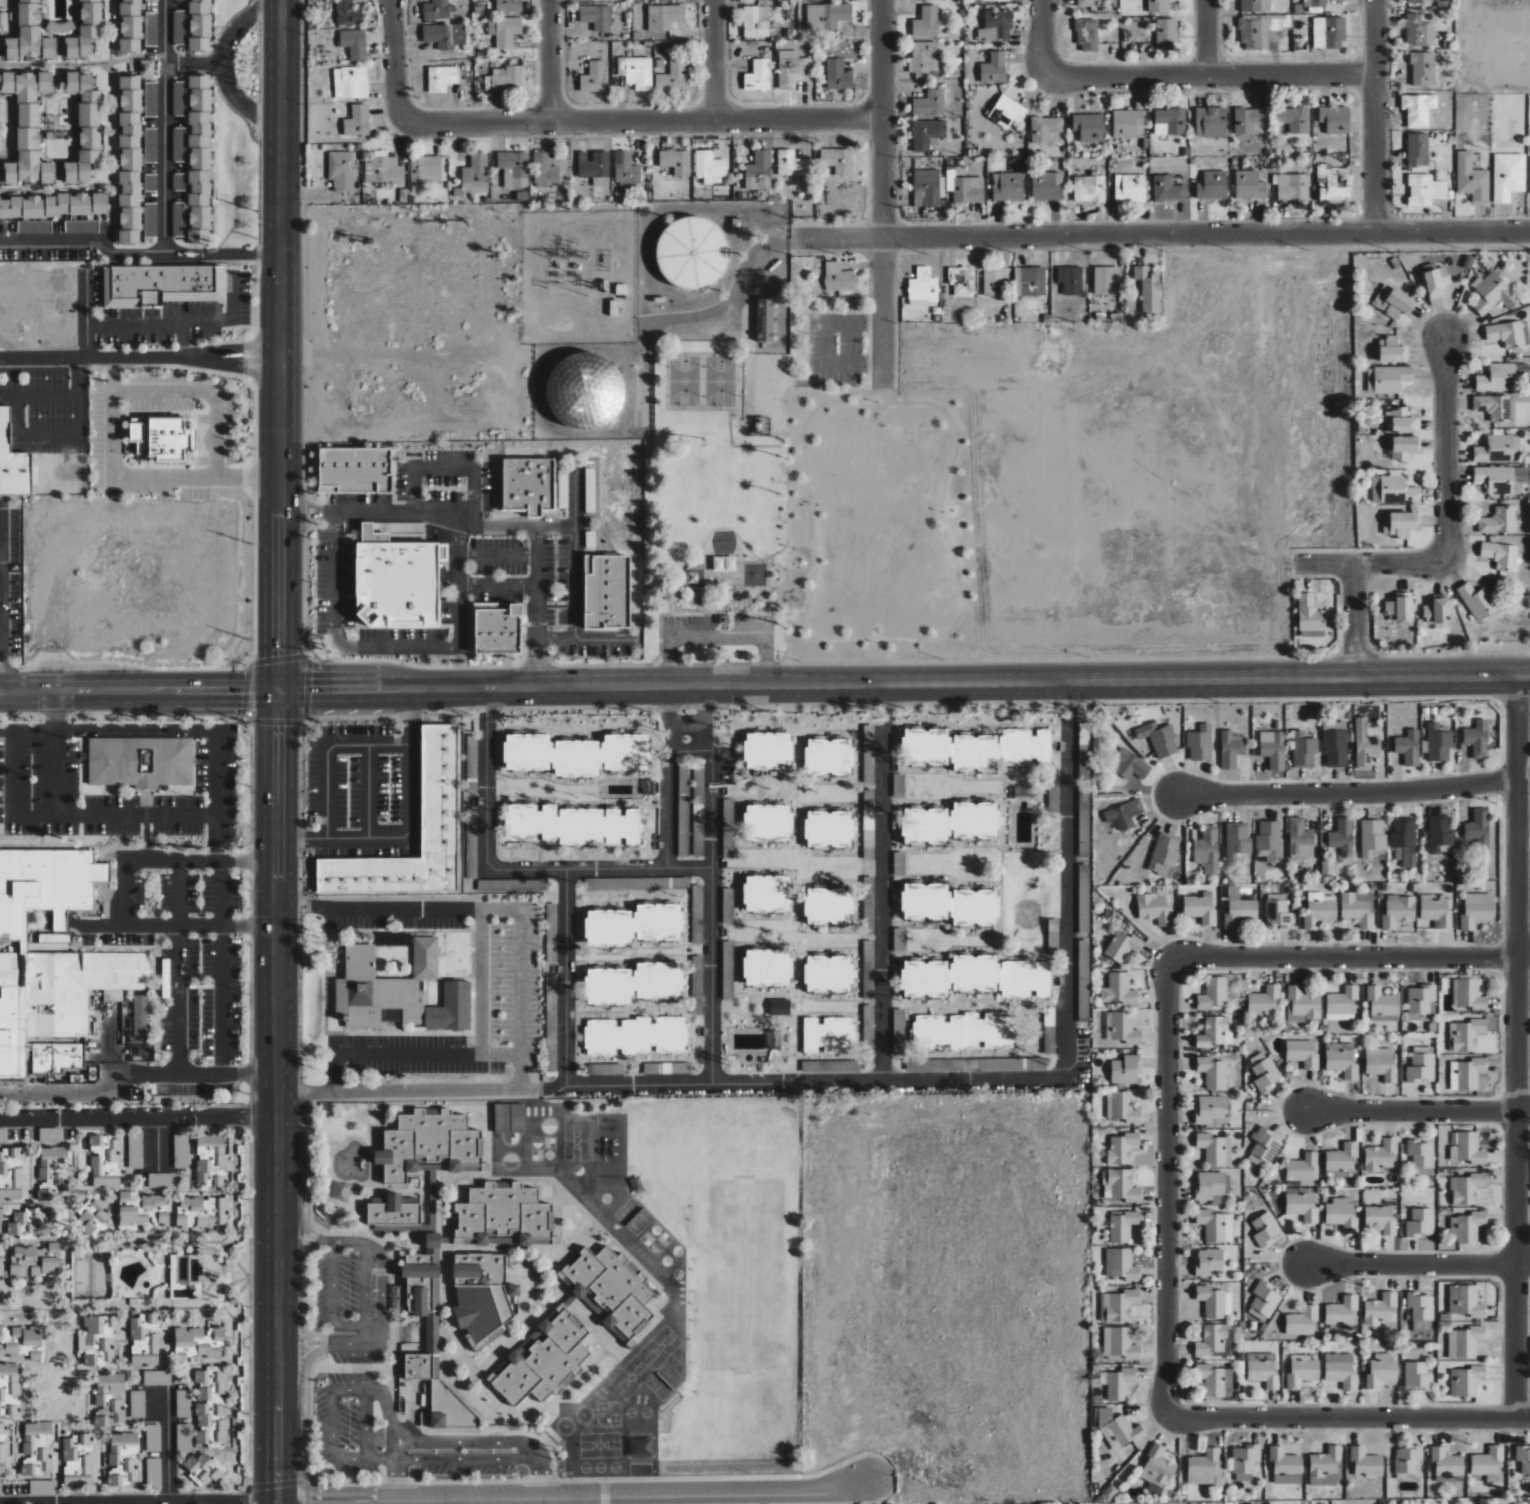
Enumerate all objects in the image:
building: (994, 0)
building: (1421, 1)
building: (1084, 3)
building: (1314, 3)
building: (508, 5)
building: (1158, 6)
building: (1255, 6)
building: (435, 10)
building: (347, 13)
building: (827, 15)
building: (596, 16)
building: (666, 16)
building: (756, 21)
building: (926, 22)
building: (198, 25)
building: (129, 26)
building: (996, 26)
building: (179, 27)
building: (84, 30)
building: (504, 30)
building: (1419, 31)
road: (1042, 32)
building: (1329, 32)
building: (1166, 34)
building: (29, 35)
building: (444, 35)
building: (1087, 35)
road: (1205, 38)
road: (165, 42)
building: (353, 43)
road: (392, 53)
building: (924, 57)
road: (219, 60)
road: (713, 60)
road: (550, 61)
road: (204, 62)
building: (146, 68)
building: (993, 68)
building: (1422, 68)
building: (792, 69)
building: (637, 73)
building: (838, 75)
road: (1206, 75)
building: (758, 76)
building: (594, 77)
building: (673, 77)
building: (442, 78)
building: (504, 79)
building: (350, 82)
building: (178, 98)
building: (151, 99)
building: (930, 103)
building: (1007, 111)
building: (2, 113)
road: (1375, 116)
building: (1294, 119)
building: (1335, 119)
building: (357, 121)
road: (634, 121)
building: (1170, 121)
building: (1250, 121)
building: (1210, 122)
building: (1128, 123)
building: (26, 127)
building: (84, 127)
building: (1089, 127)
building: (1045, 128)
building: (925, 134)
building: (179, 144)
building: (1418, 149)
road: (165, 158)
building: (198, 159)
building: (837, 159)
building: (129, 160)
building: (676, 161)
building: (760, 164)
building: (791, 164)
building: (595, 167)
building: (709, 167)
building: (514, 168)
building: (626, 168)
building: (384, 169)
building: (426, 169)
building: (341, 170)
building: (544, 170)
building: (1509, 175)
building: (1472, 179)
building: (151, 182)
building: (179, 182)
building: (1333, 184)
building: (1212, 185)
building: (1249, 185)
building: (1007, 186)
building: (1047, 186)
building: (1293, 186)
building: (926, 188)
building: (965, 188)
building: (1089, 188)
building: (1131, 189)
building: (1167, 189)
building: (1425, 190)
road: (881, 193)
building: (53, 206)
building: (178, 219)
building: (151, 220)
building: (81, 226)
road: (1068, 236)
road: (102, 246)
building: (690, 253)
road: (241, 254)
building: (838, 277)
building: (1105, 279)
building: (961, 280)
building: (1070, 280)
building: (995, 281)
building: (1029, 281)
building: (1436, 281)
building: (160, 285)
building: (923, 286)
building: (1148, 288)
building: (1492, 293)
building: (1393, 302)
building: (764, 319)
road: (137, 321)
building: (1506, 334)
road: (277, 345)
building: (1391, 350)
road: (138, 359)
building: (1501, 377)
building: (1391, 378)
park: (683, 380)
park: (719, 381)
building: (583, 391)
building: (1496, 407)
building: (1404, 421)
building: (160, 438)
building: (1404, 448)
building: (1499, 449)
road: (1446, 451)
building: (12, 462)
building: (353, 470)
building: (1501, 478)
park: (716, 481)
road: (787, 482)
building: (526, 484)
building: (1394, 490)
building: (1499, 521)
building: (1399, 524)
road: (484, 525)
building: (1500, 555)
road: (1364, 561)
building: (723, 564)
parking lot: (512, 566)
building: (394, 580)
building: (605, 592)
building: (1477, 601)
building: (1399, 608)
building: (1436, 610)
building: (1310, 614)
road: (1353, 620)
building: (495, 628)
parking lot: (718, 629)
road: (715, 638)
road: (902, 683)
road: (138, 694)
road: (54, 712)
road: (172, 730)
building: (1159, 739)
building: (1477, 739)
building: (1200, 743)
building: (1437, 743)
building: (1335, 744)
building: (1365, 745)
building: (1026, 747)
building: (1409, 747)
road: (325, 748)
building: (1231, 749)
building: (1273, 749)
building: (1304, 749)
building: (950, 750)
building: (767, 751)
building: (868, 754)
building: (576, 755)
building: (471, 756)
building: (828, 757)
building: (139, 762)
building: (1128, 764)
road: (54, 773)
road: (669, 778)
road: (1523, 780)
building: (898, 785)
building: (1084, 790)
road: (367, 791)
building: (437, 791)
road: (1347, 791)
building: (1053, 795)
building: (698, 809)
building: (683, 811)
building: (1124, 815)
road: (69, 816)
building: (767, 823)
building: (868, 824)
building: (949, 824)
building: (572, 825)
building: (728, 828)
building: (1479, 828)
building: (828, 829)
road: (409, 831)
building: (1343, 835)
building: (1441, 835)
building: (1372, 837)
building: (1300, 839)
building: (1237, 840)
building: (1269, 841)
building: (1405, 841)
building: (471, 844)
building: (1207, 850)
building: (1165, 855)
road: (168, 861)
building: (898, 864)
road: (511, 870)
road: (271, 882)
building: (637, 883)
road: (883, 883)
building: (495, 885)
building: (766, 894)
road: (712, 897)
building: (1084, 899)
building: (696, 905)
building: (949, 905)
building: (727, 906)
building: (828, 906)
building: (868, 906)
building: (1200, 908)
building: (1358, 908)
road: (482, 909)
building: (1154, 909)
building: (1239, 909)
building: (1436, 910)
building: (1477, 910)
building: (1399, 911)
building: (1319, 912)
building: (1278, 914)
building: (633, 925)
road: (180, 926)
building: (551, 932)
building: (1053, 935)
building: (898, 940)
building: (1123, 946)
road: (1348, 955)
building: (52, 956)
road: (177, 967)
road: (220, 967)
building: (727, 967)
building: (766, 968)
building: (696, 969)
building: (868, 969)
building: (827, 973)
building: (975, 977)
road: (565, 978)
road: (482, 981)
parking lot: (506, 981)
building: (1084, 981)
building: (633, 983)
building: (382, 986)
building: (1119, 990)
building: (1213, 994)
building: (1467, 994)
building: (1264, 1000)
building: (1422, 1000)
building: (1382, 1002)
building: (1304, 1003)
building: (1342, 1004)
building: (779, 1007)
building: (451, 1009)
building: (390, 1016)
building: (141, 1019)
building: (551, 1023)
building: (868, 1024)
building: (1124, 1029)
building: (963, 1031)
building: (1216, 1033)
building: (828, 1035)
building: (1467, 1035)
building: (635, 1036)
building: (899, 1039)
building: (1049, 1039)
road: (1515, 1046)
road: (408, 1053)
building: (1303, 1053)
building: (1342, 1060)
building: (1004, 1063)
building: (941, 1064)
building: (1381, 1064)
building: (821, 1066)
building: (666, 1068)
building: (1421, 1068)
building: (605, 1069)
building: (1125, 1070)
building: (1212, 1073)
building: (1467, 1074)
road: (132, 1075)
building: (1266, 1075)
road: (864, 1084)
road: (1522, 1106)
building: (1122, 1107)
building: (1209, 1109)
road: (1410, 1109)
building: (509, 1117)
road: (135, 1118)
road: (156, 1142)
building: (428, 1144)
building: (1264, 1147)
building: (1122, 1148)
building: (1468, 1148)
building: (1215, 1149)
building: (181, 1151)
building: (1421, 1153)
building: (1381, 1155)
building: (50, 1159)
building: (210, 1159)
building: (1342, 1160)
building: (104, 1161)
building: (3, 1166)
building: (1303, 1167)
building: (161, 1180)
building: (61, 1182)
building: (1209, 1184)
building: (14, 1185)
road: (1164, 1186)
building: (1466, 1188)
building: (340, 1190)
building: (44, 1193)
building: (125, 1196)
building: (152, 1201)
building: (1302, 1206)
building: (202, 1211)
building: (393, 1211)
building: (503, 1214)
building: (1342, 1214)
building: (131, 1216)
building: (163, 1217)
building: (94, 1218)
building: (1381, 1218)
building: (1420, 1222)
building: (26, 1223)
building: (1216, 1225)
building: (1122, 1226)
building: (1467, 1226)
building: (1266, 1228)
building: (22, 1259)
building: (1211, 1260)
road: (1523, 1261)
building: (1122, 1264)
road: (1409, 1264)
building: (46, 1267)
building: (189, 1267)
building: (427, 1267)
building: (1, 1269)
road: (366, 1286)
road: (270, 1288)
building: (609, 1290)
building: (479, 1295)
building: (1212, 1301)
building: (1264, 1301)
building: (1465, 1301)
building: (1119, 1305)
building: (1380, 1308)
building: (1342, 1310)
building: (1420, 1310)
building: (1302, 1320)
building: (432, 1334)
building: (28, 1335)
building: (99, 1335)
building: (145, 1339)
building: (1214, 1340)
building: (199, 1341)
building: (1465, 1341)
building: (1120, 1343)
building: (8, 1349)
building: (90, 1359)
building: (544, 1359)
building: (1264, 1368)
building: (1382, 1369)
building: (1340, 1370)
building: (1302, 1373)
building: (1417, 1376)
building: (156, 1377)
building: (11, 1378)
building: (213, 1379)
building: (1216, 1380)
building: (1466, 1381)
building: (1120, 1383)
building: (204, 1393)
building: (100, 1395)
building: (1, 1400)
building: (138, 1404)
building: (221, 1409)
building: (118, 1410)
building: (203, 1414)
road: (1348, 1416)
building: (100, 1418)
building: (436, 1419)
building: (221, 1430)
building: (1122, 1431)
building: (202, 1437)
building: (36, 1448)
road: (169, 1449)
building: (3, 1450)
building: (125, 1453)
building: (1523, 1457)
building: (1407, 1459)
building: (77, 1461)
building: (1284, 1461)
building: (1245, 1462)
building: (1366, 1462)
building: (1488, 1463)
building: (1324, 1464)
building: (1448, 1465)
building: (1203, 1467)
building: (202, 1468)
building: (1157, 1469)
building: (153, 1471)
building: (114, 1480)
road: (571, 1491)
road: (135, 1501)
building: (1194, 1503)
building: (1272, 1503)
building: (1324, 1503)

